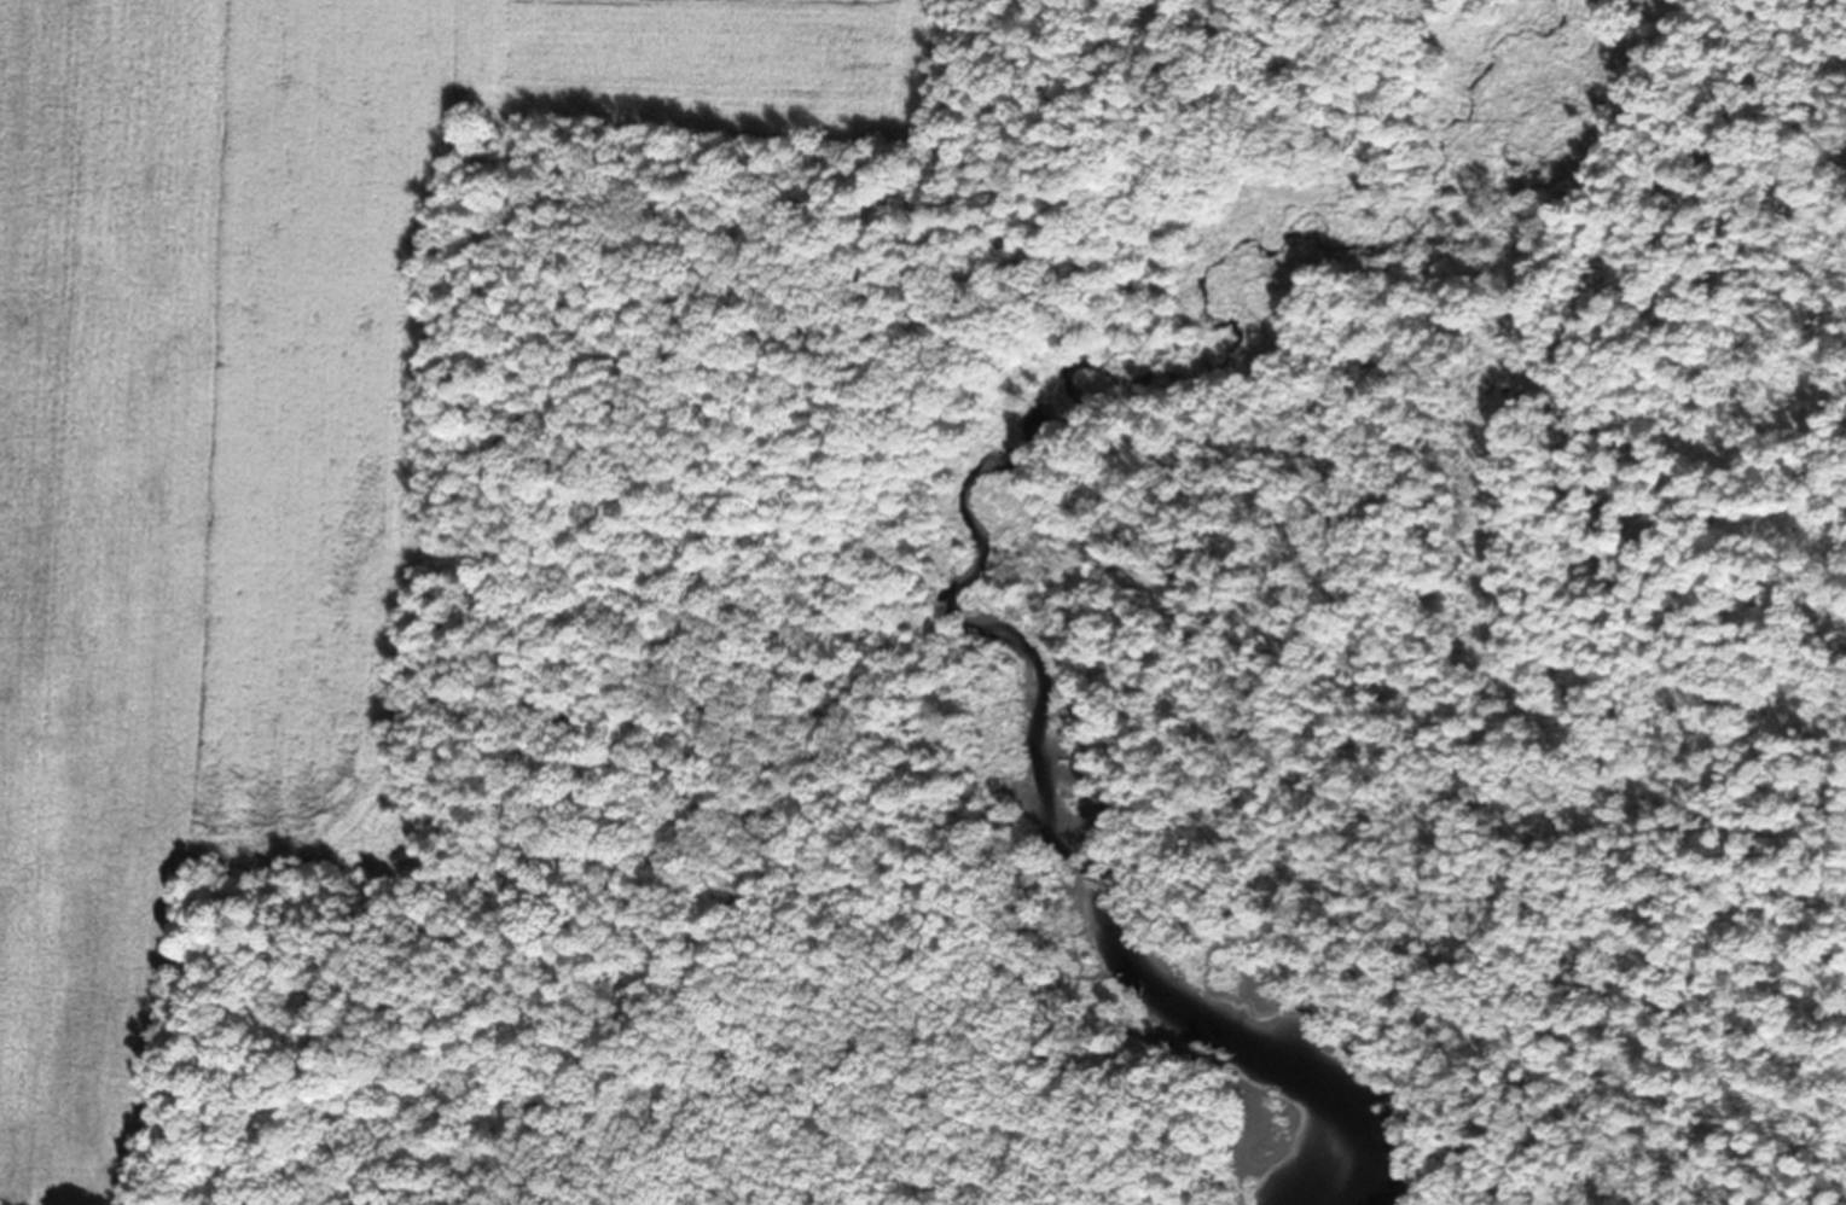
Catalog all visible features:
crop: (262, 442)

